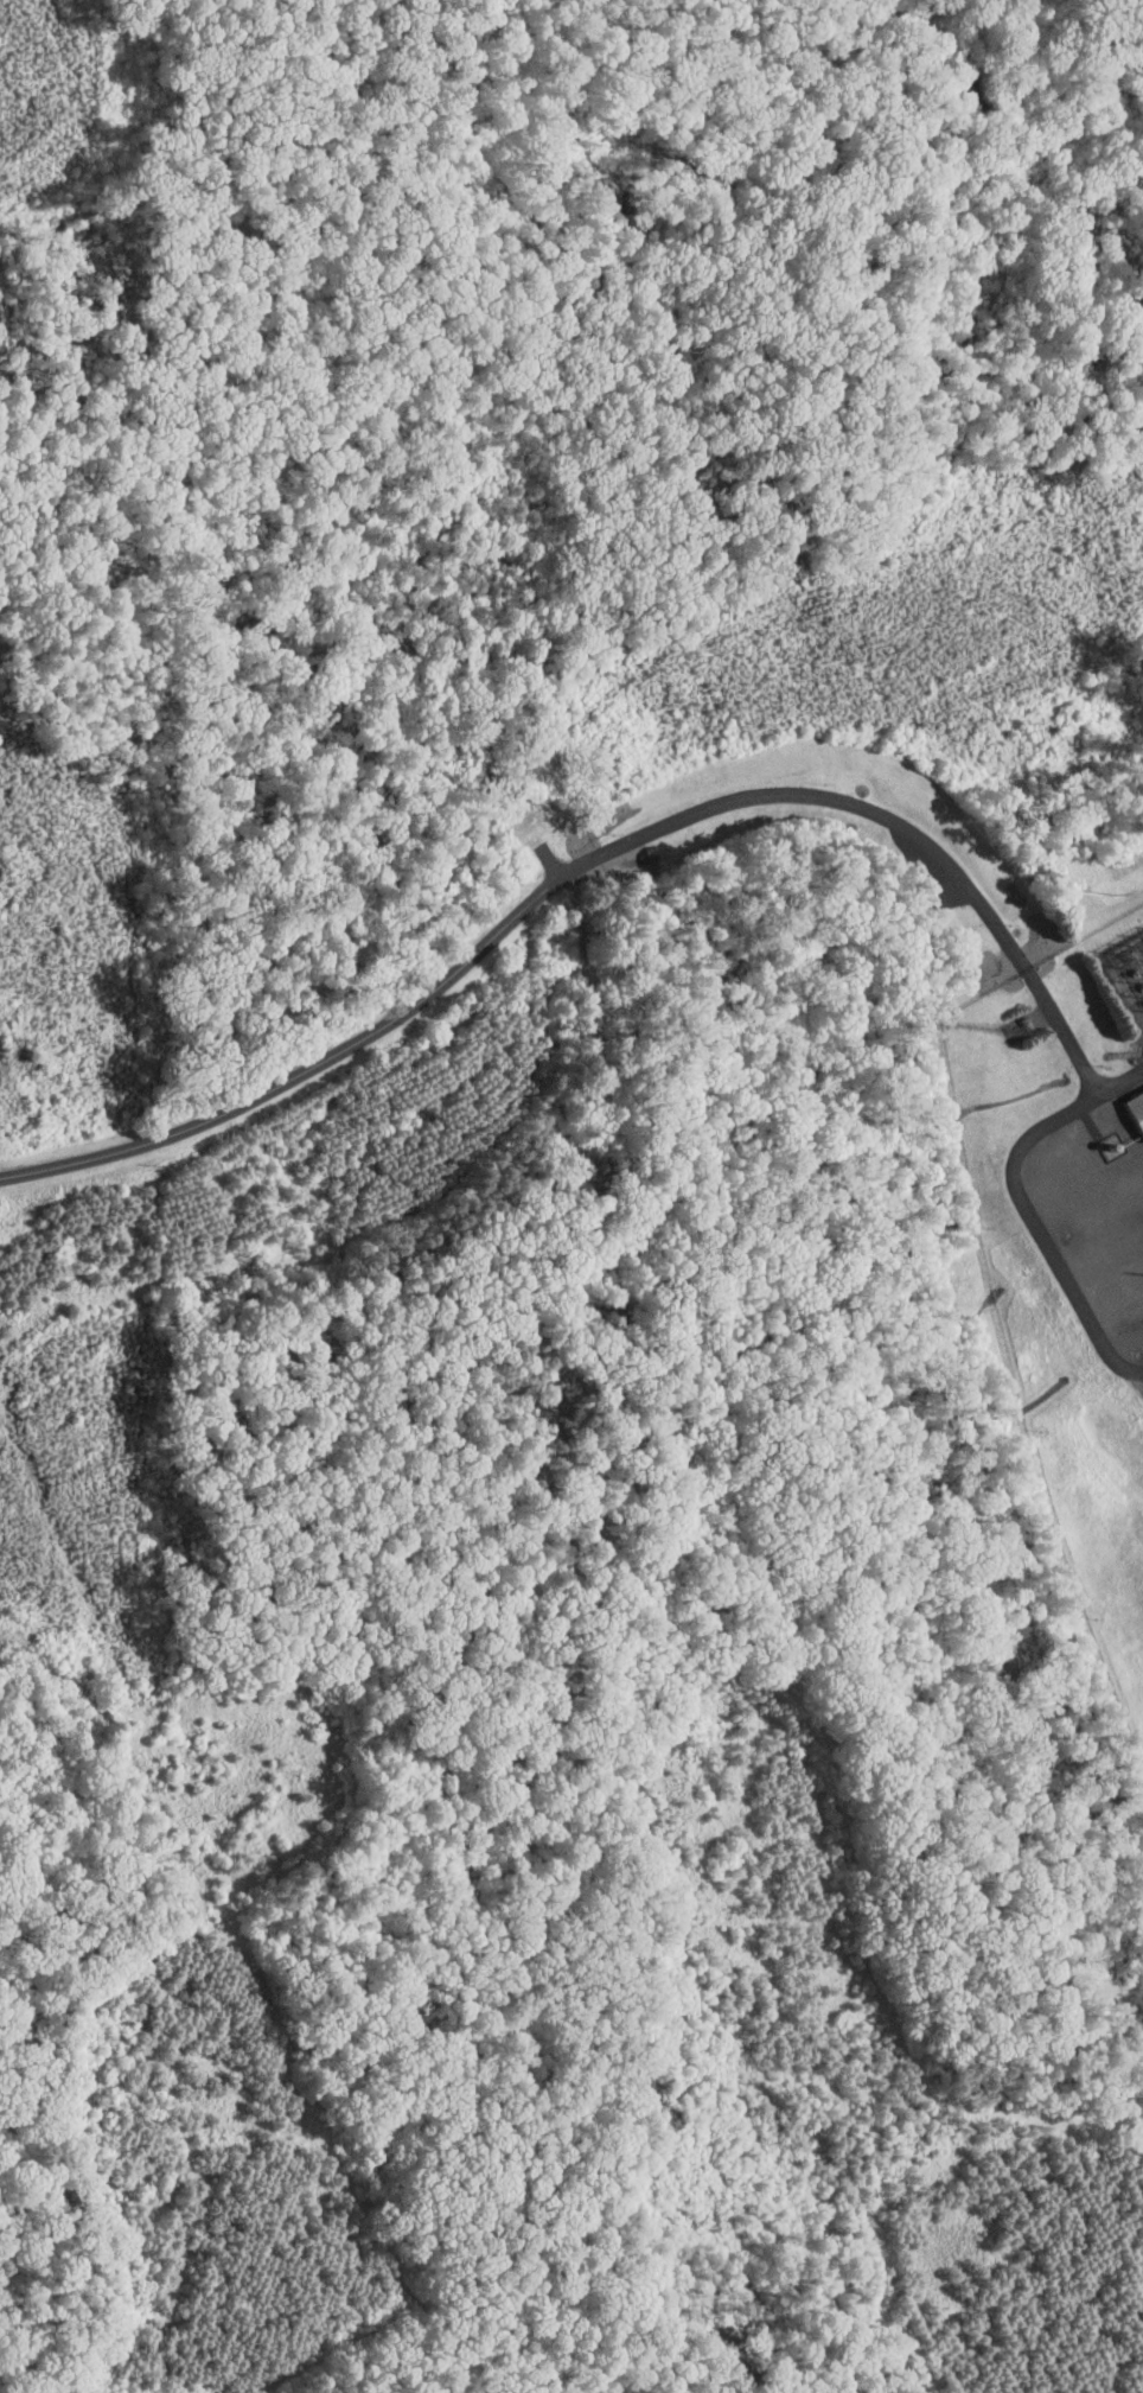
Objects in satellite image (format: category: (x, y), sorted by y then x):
road: (580, 867)
power tower: (1117, 895)
power tower: (1142, 941)
power substation: (1129, 973)
road: (1120, 1080)
building: (1107, 1169)
road: (1040, 1223)

